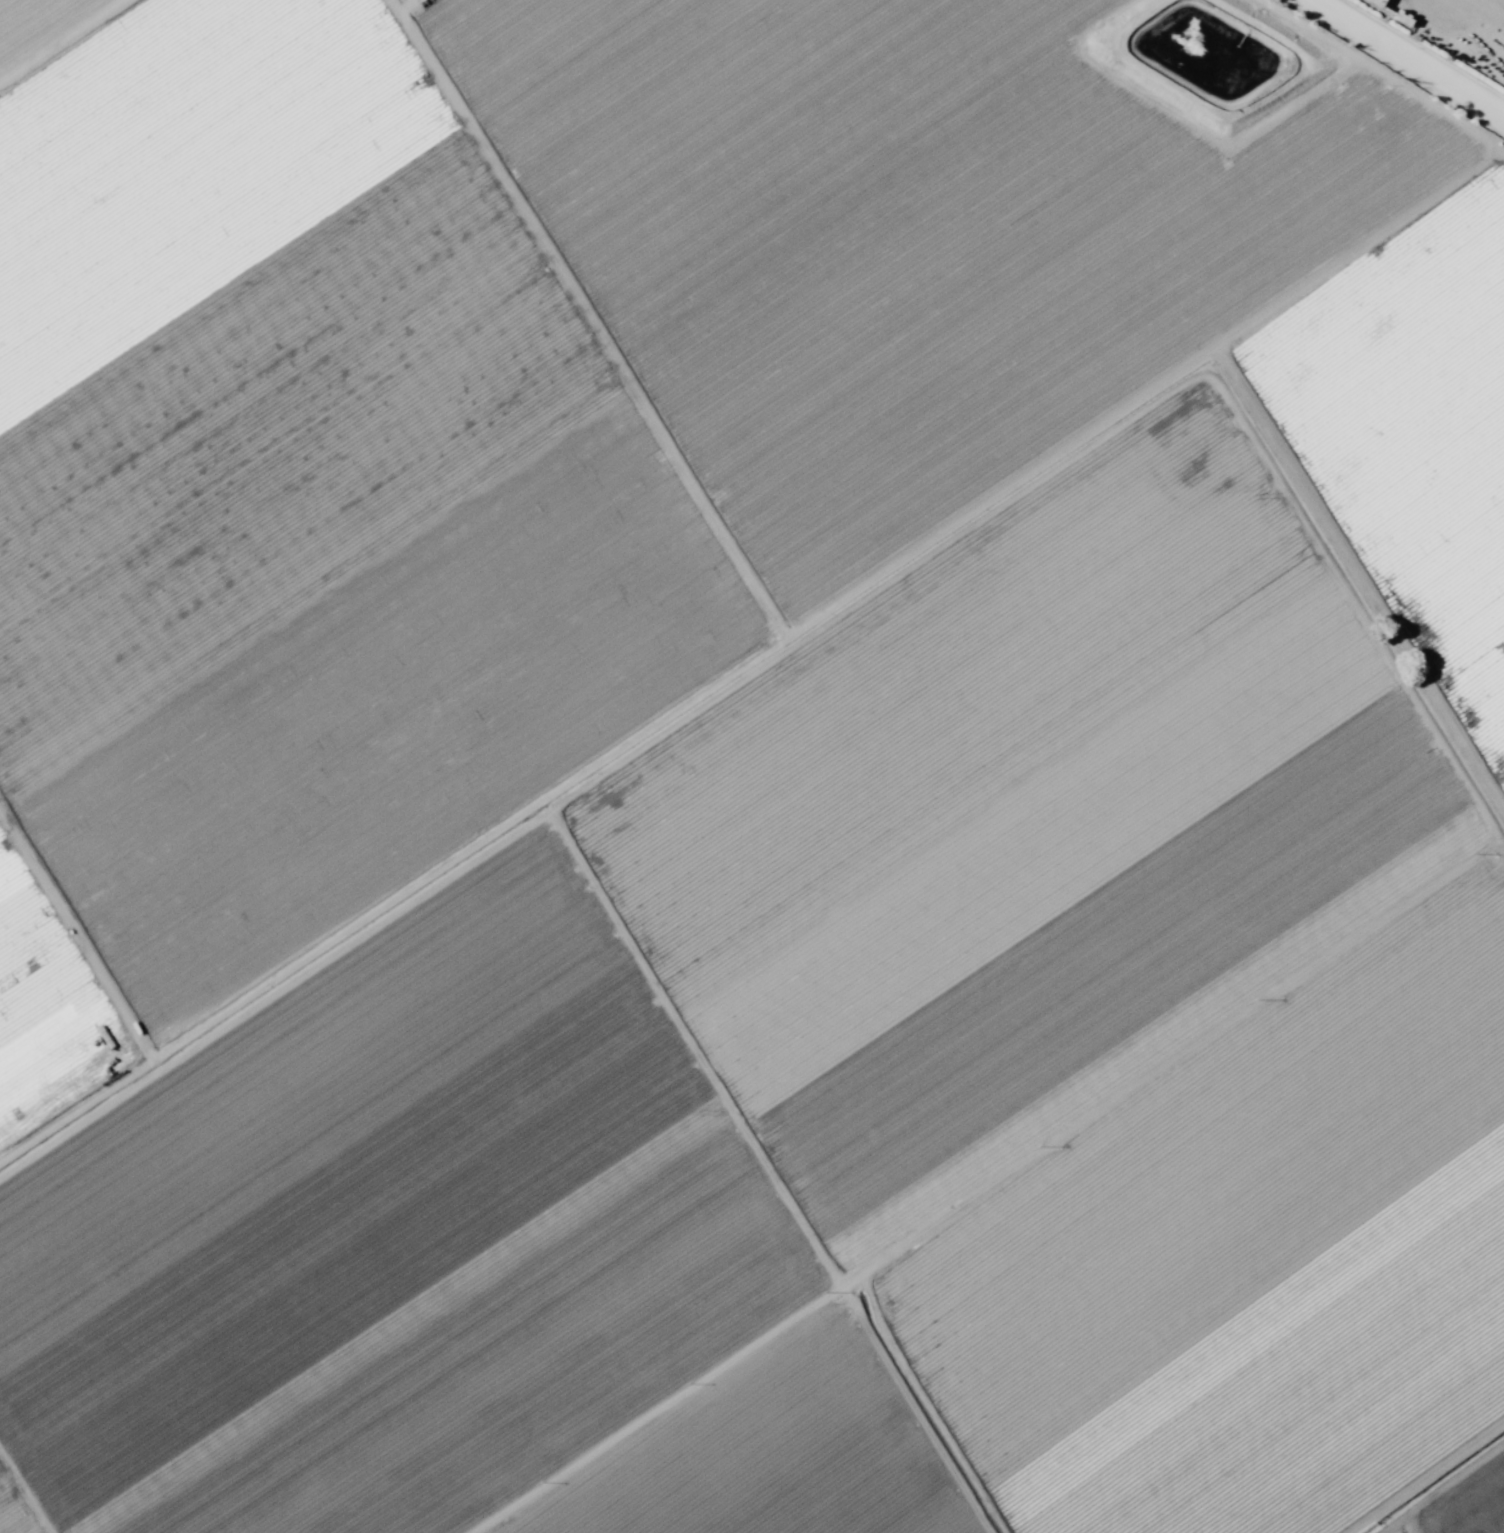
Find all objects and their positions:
road: (93, 59)
road: (1388, 66)
wastewater plant: (1193, 462)
road: (837, 582)
crop: (743, 778)
road: (996, 1185)

